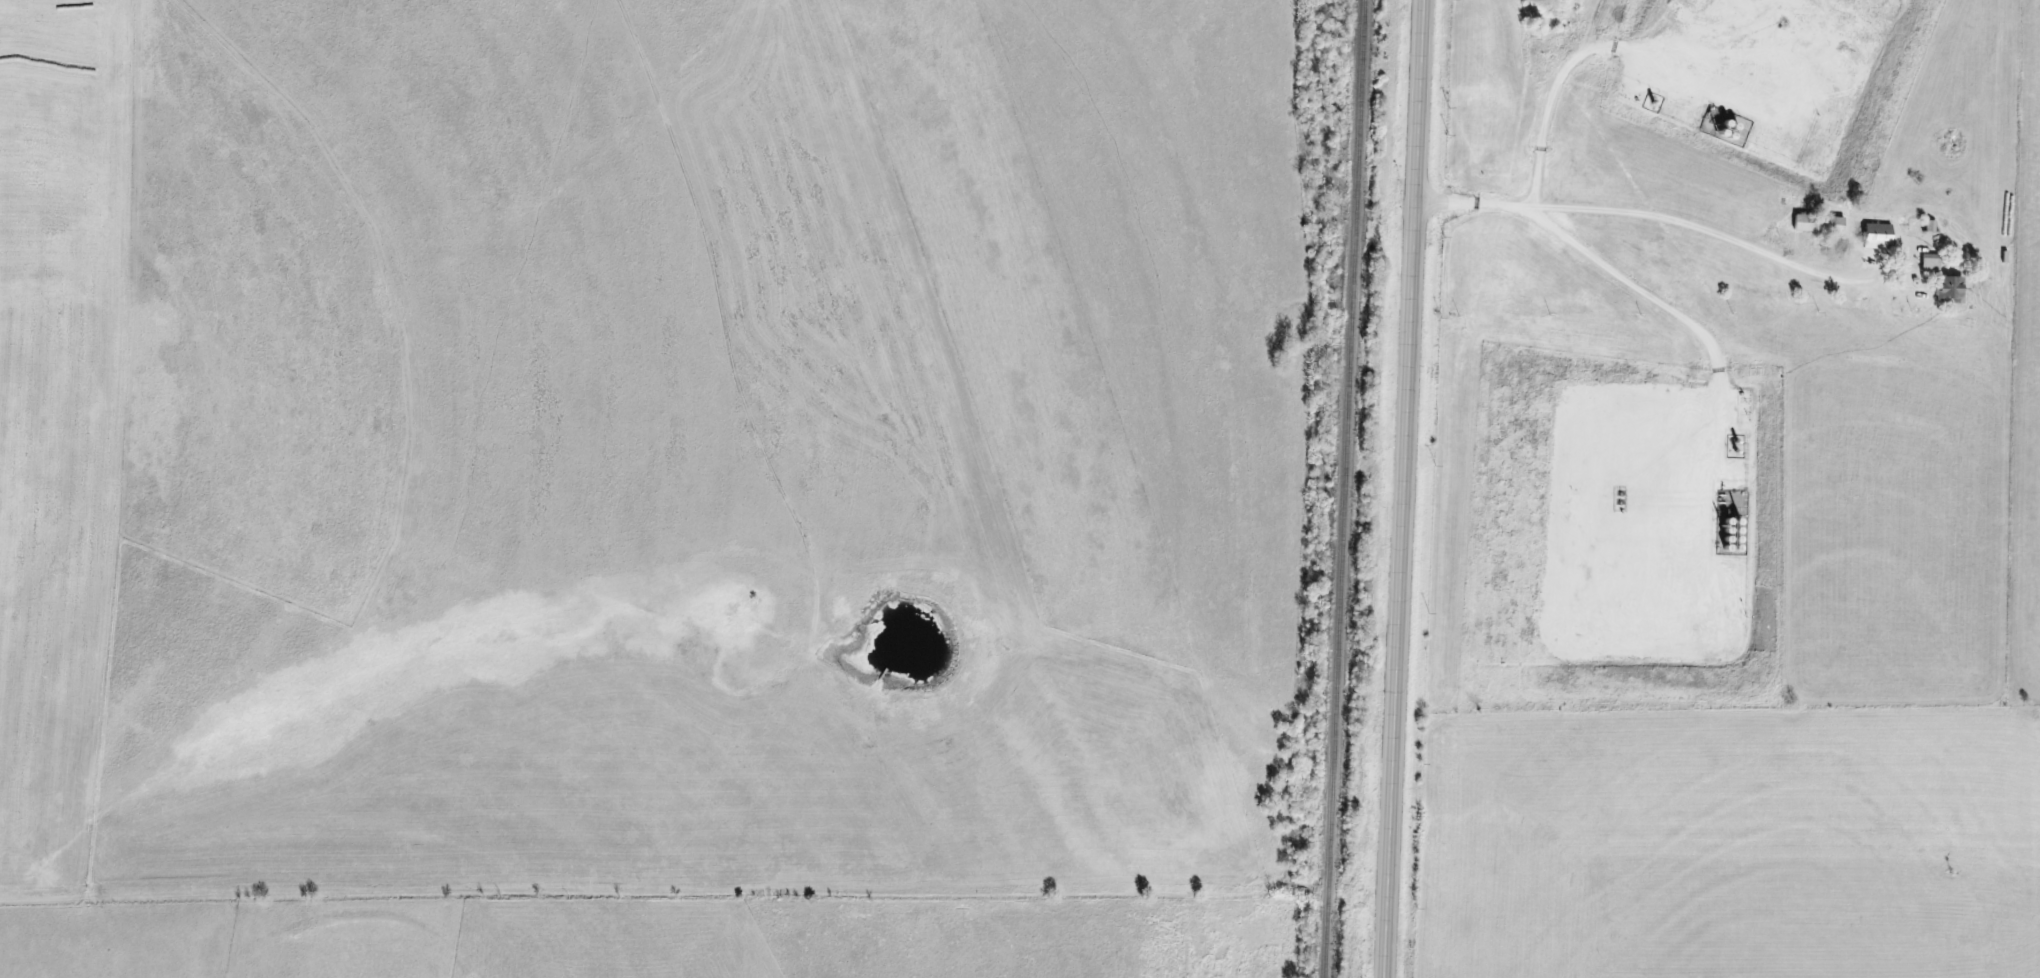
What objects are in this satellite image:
road: (1640, 217)
building: (1816, 224)
building: (1929, 226)
building: (1875, 237)
road: (1583, 251)
building: (1929, 262)
building: (1948, 289)
railway: (1343, 489)
road: (1412, 489)

